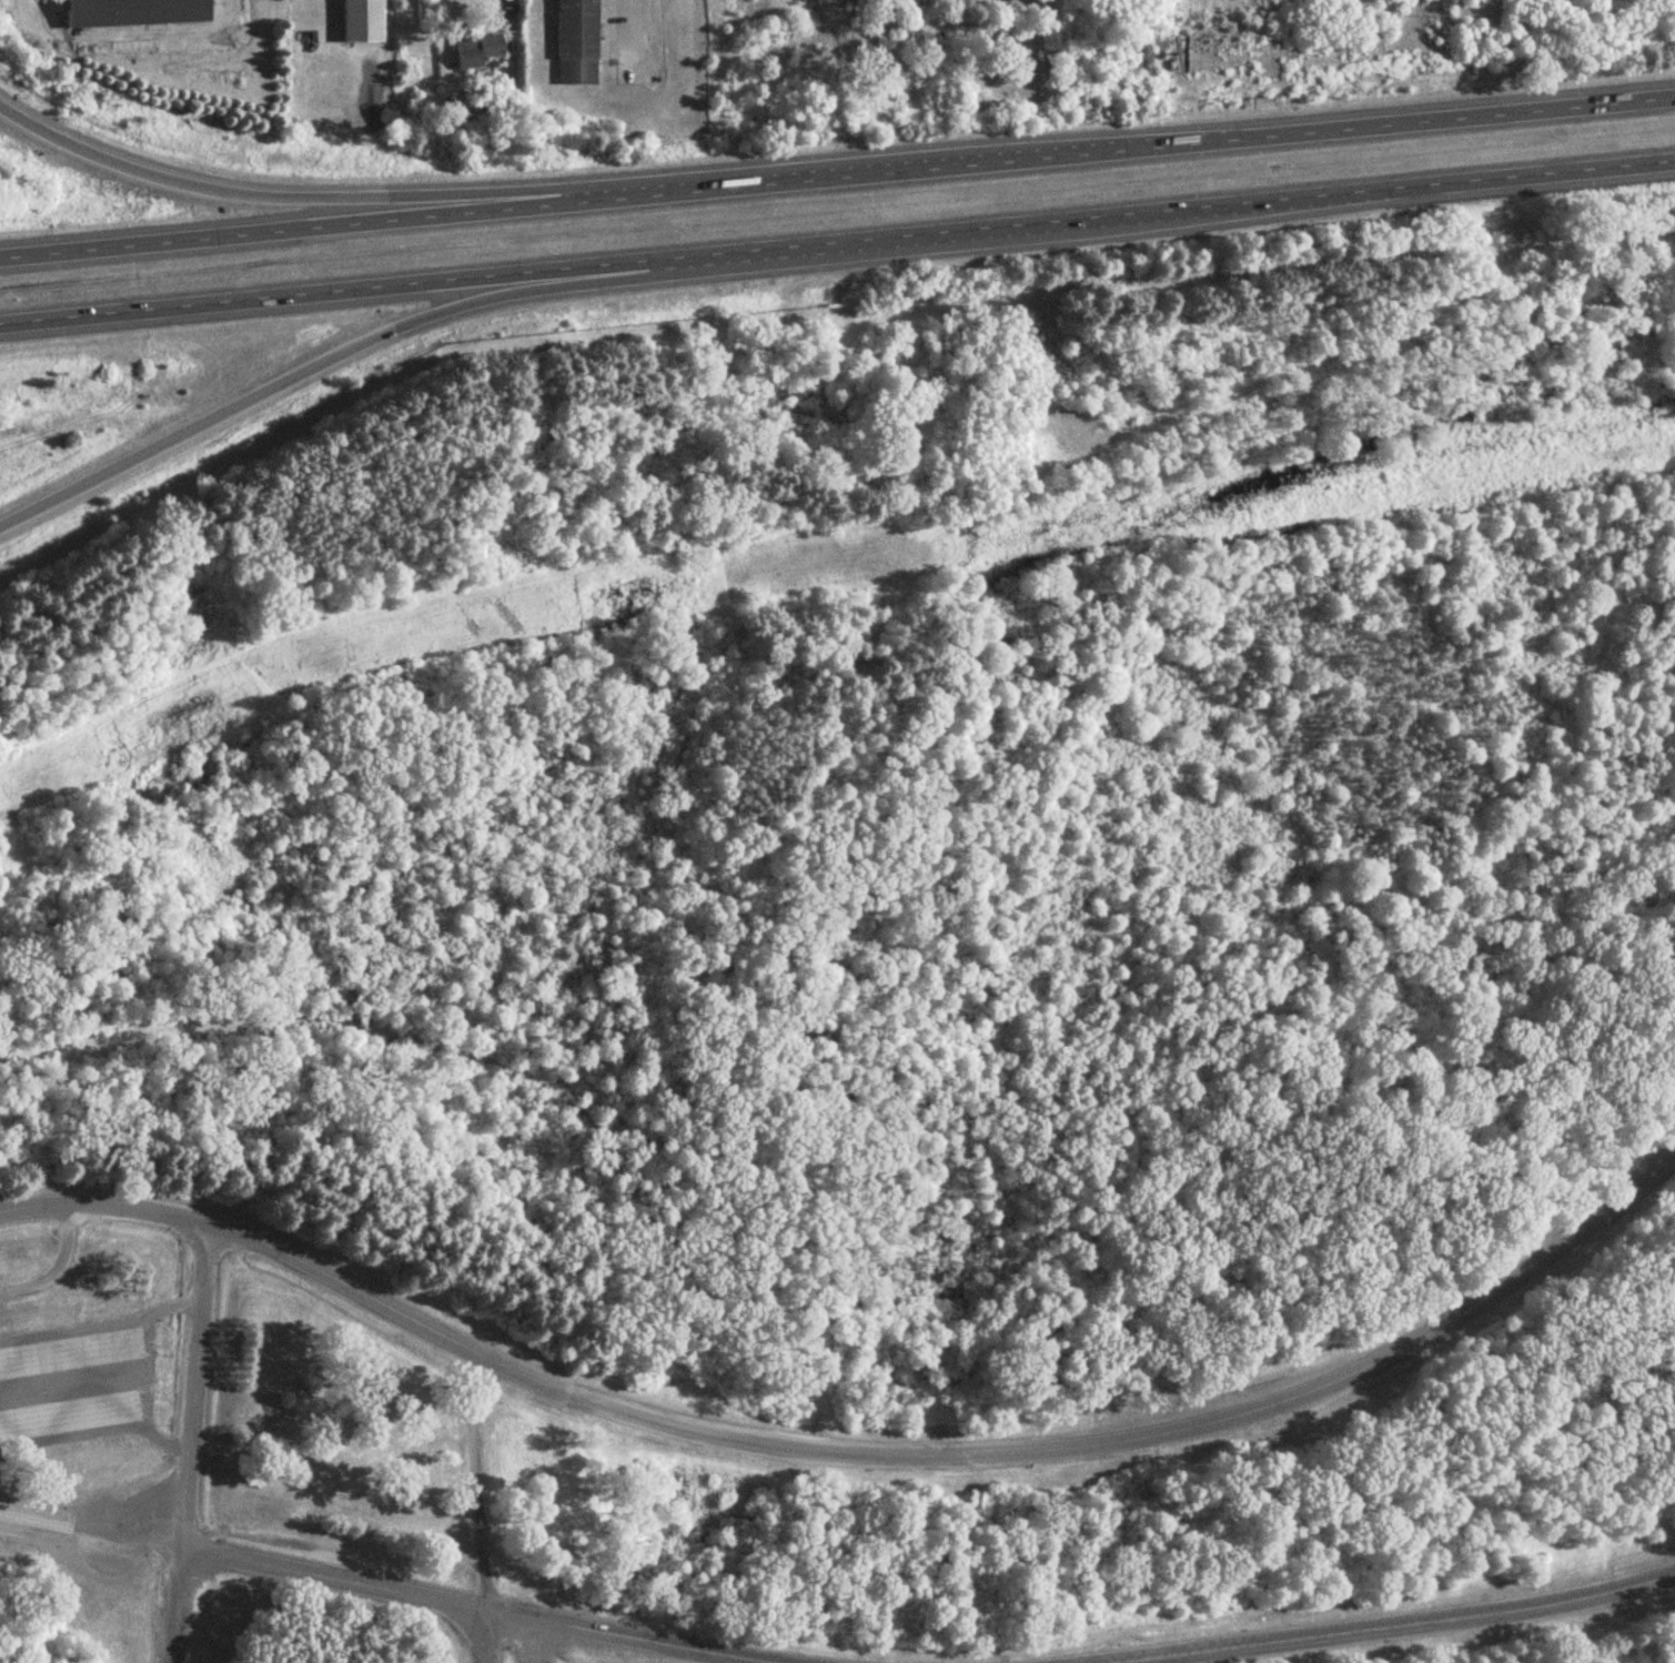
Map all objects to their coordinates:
road: (490, 3)
building: (132, 11)
building: (576, 44)
building: (475, 52)
road: (837, 179)
road: (326, 199)
road: (837, 242)
road: (354, 349)
road: (192, 1410)
raceway: (852, 1453)
road: (91, 1534)
raceway: (303, 1573)
road: (1411, 1627)
road: (585, 1630)
road: (518, 1639)

